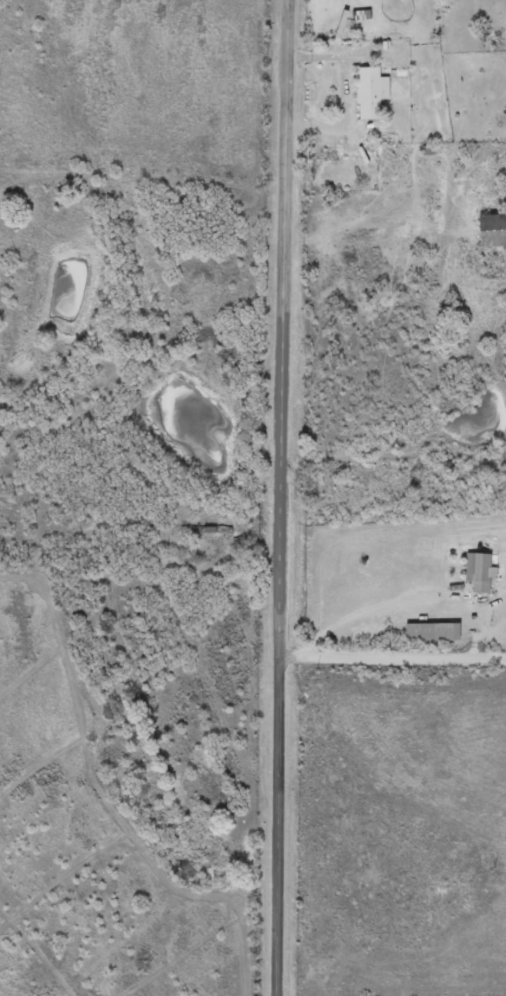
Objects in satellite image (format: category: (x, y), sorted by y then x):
building: (367, 93)
road: (279, 497)
building: (476, 571)
road: (392, 661)

